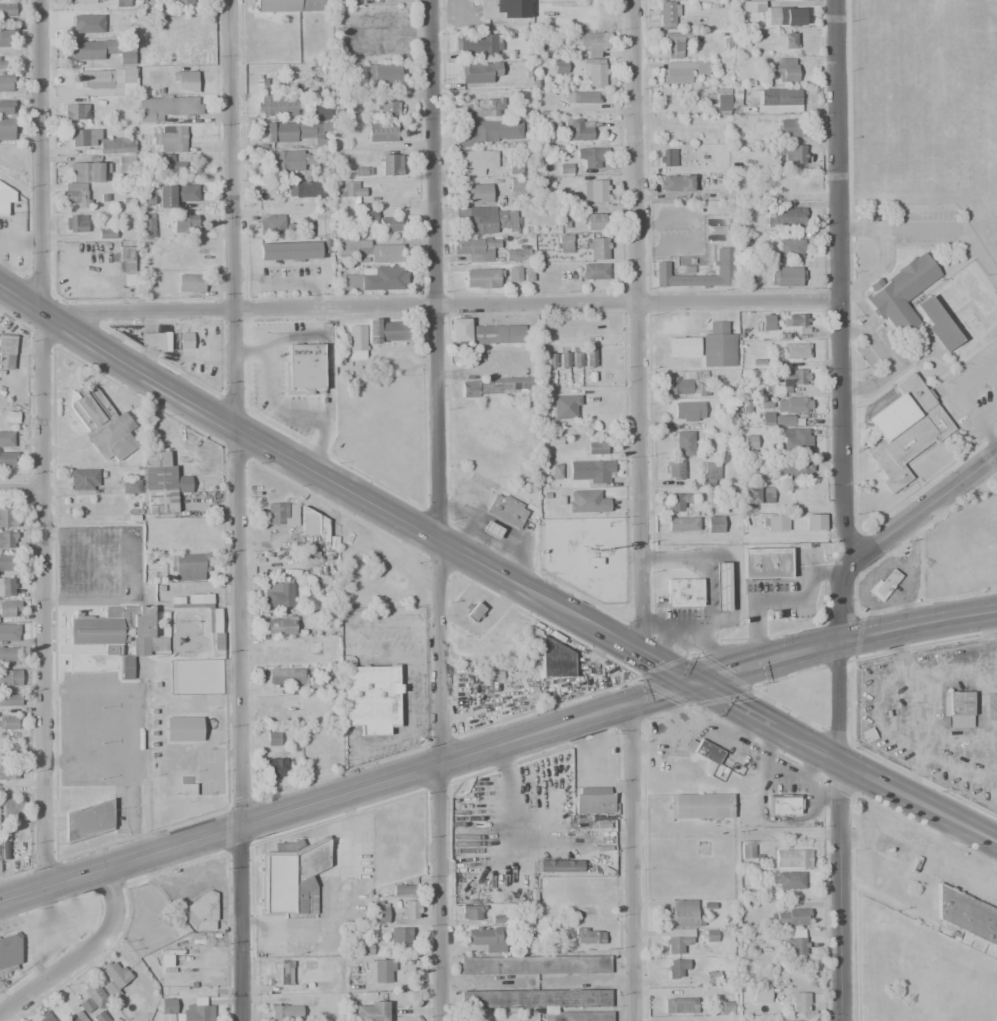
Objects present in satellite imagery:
building: (79, 1)
building: (122, 3)
building: (179, 3)
building: (287, 6)
building: (6, 9)
building: (504, 9)
building: (668, 15)
building: (783, 16)
building: (76, 26)
building: (7, 38)
building: (789, 39)
building: (593, 42)
building: (477, 45)
building: (673, 45)
building: (95, 48)
building: (5, 63)
building: (559, 67)
building: (783, 68)
building: (683, 71)
building: (480, 72)
building: (592, 72)
building: (383, 73)
building: (267, 78)
building: (95, 79)
building: (186, 81)
building: (6, 83)
building: (581, 97)
building: (776, 100)
building: (722, 101)
building: (276, 105)
building: (6, 107)
building: (164, 107)
building: (485, 108)
building: (388, 109)
building: (75, 112)
building: (319, 112)
building: (790, 128)
building: (6, 129)
building: (577, 129)
building: (295, 130)
building: (488, 131)
building: (381, 132)
building: (84, 137)
building: (169, 139)
building: (112, 147)
road: (43, 153)
building: (790, 153)
building: (591, 157)
building: (667, 158)
building: (293, 159)
building: (475, 161)
building: (125, 164)
building: (390, 165)
building: (169, 167)
building: (513, 169)
building: (88, 171)
building: (362, 171)
building: (675, 183)
building: (780, 184)
building: (518, 188)
building: (308, 190)
building: (352, 190)
building: (593, 190)
building: (477, 193)
building: (175, 194)
building: (76, 195)
building: (6, 198)
building: (369, 216)
building: (783, 217)
building: (483, 219)
building: (270, 221)
building: (600, 222)
building: (75, 223)
building: (185, 223)
building: (322, 223)
building: (390, 223)
building: (147, 227)
building: (106, 233)
building: (475, 244)
building: (586, 246)
building: (790, 247)
building: (288, 250)
building: (370, 250)
building: (513, 255)
building: (122, 258)
building: (726, 270)
building: (594, 271)
building: (513, 273)
building: (528, 275)
building: (786, 276)
building: (482, 278)
building: (384, 279)
building: (128, 280)
road: (840, 280)
building: (190, 282)
building: (995, 290)
building: (900, 292)
road: (442, 306)
building: (794, 319)
building: (767, 322)
building: (937, 324)
road: (640, 325)
building: (716, 326)
building: (386, 331)
building: (483, 332)
building: (169, 337)
building: (154, 341)
building: (185, 341)
building: (356, 342)
building: (683, 347)
building: (717, 350)
building: (793, 351)
building: (7, 352)
building: (589, 355)
building: (550, 359)
building: (564, 359)
building: (576, 359)
building: (303, 370)
building: (792, 377)
building: (687, 385)
building: (497, 387)
building: (776, 390)
building: (568, 407)
building: (789, 408)
building: (687, 411)
building: (766, 418)
building: (103, 425)
building: (903, 430)
building: (6, 438)
building: (795, 439)
building: (748, 441)
building: (683, 443)
building: (596, 447)
building: (7, 459)
building: (791, 469)
building: (590, 470)
building: (674, 470)
building: (556, 471)
building: (708, 474)
building: (84, 480)
building: (162, 484)
road: (23, 487)
building: (130, 487)
road: (342, 488)
building: (757, 495)
building: (586, 501)
building: (676, 503)
road: (928, 505)
road: (235, 510)
road: (439, 510)
building: (506, 510)
building: (282, 513)
building: (7, 517)
building: (776, 522)
building: (814, 522)
building: (681, 525)
building: (714, 525)
building: (314, 526)
building: (490, 530)
building: (8, 540)
building: (8, 562)
building: (765, 564)
building: (189, 567)
building: (884, 585)
building: (720, 586)
building: (6, 587)
building: (683, 592)
road: (47, 594)
building: (279, 594)
road: (839, 594)
building: (199, 599)
building: (7, 608)
building: (474, 612)
building: (214, 622)
road: (918, 624)
building: (280, 625)
building: (9, 634)
building: (119, 634)
building: (277, 652)
building: (7, 656)
building: (553, 659)
building: (136, 668)
building: (11, 677)
building: (286, 678)
traffic signals: (694, 682)
building: (370, 698)
building: (10, 699)
building: (316, 703)
building: (957, 709)
building: (286, 716)
building: (9, 722)
building: (183, 729)
building: (272, 738)
building: (320, 741)
building: (8, 751)
building: (707, 755)
road: (844, 763)
road: (418, 766)
building: (274, 767)
building: (9, 771)
building: (186, 789)
building: (593, 800)
building: (782, 804)
building: (700, 806)
building: (12, 808)
building: (88, 810)
road: (838, 829)
building: (747, 851)
building: (792, 858)
road: (630, 861)
building: (560, 866)
building: (291, 876)
building: (789, 880)
building: (403, 889)
building: (409, 909)
building: (380, 911)
building: (472, 911)
building: (201, 913)
building: (683, 914)
building: (967, 914)
building: (792, 917)
building: (497, 919)
building: (588, 936)
building: (399, 938)
building: (487, 938)
building: (527, 939)
building: (678, 940)
building: (794, 946)
building: (9, 950)
road: (79, 953)
building: (534, 965)
building: (680, 967)
building: (384, 971)
building: (279, 973)
building: (114, 977)
building: (712, 977)
building: (352, 980)
building: (94, 993)
building: (760, 994)
building: (536, 998)
building: (799, 1002)
building: (85, 1005)
building: (679, 1005)
building: (721, 1007)
building: (167, 1009)
building: (370, 1011)
building: (197, 1012)
building: (286, 1013)
building: (578, 1016)
building: (76, 1017)
building: (99, 1017)
building: (46, 1018)

